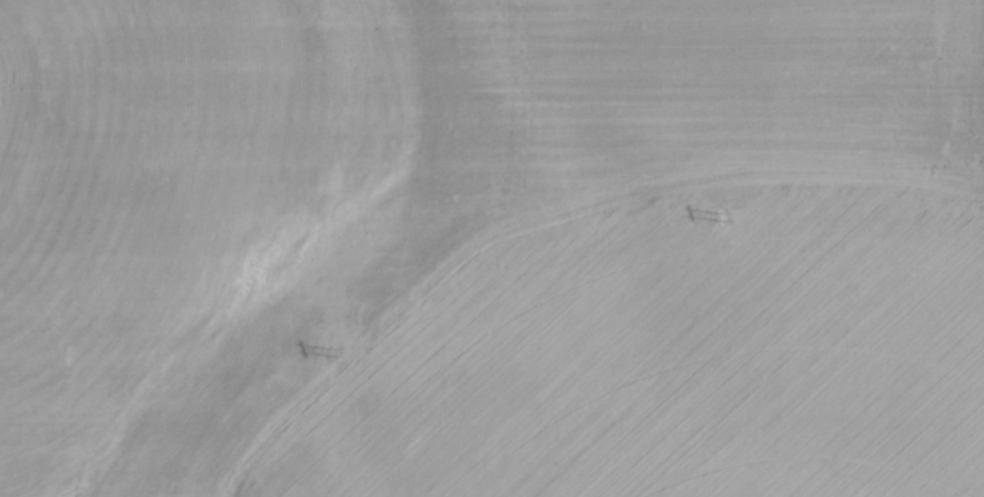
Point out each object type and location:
power tower: (719, 215)
power tower: (330, 352)

